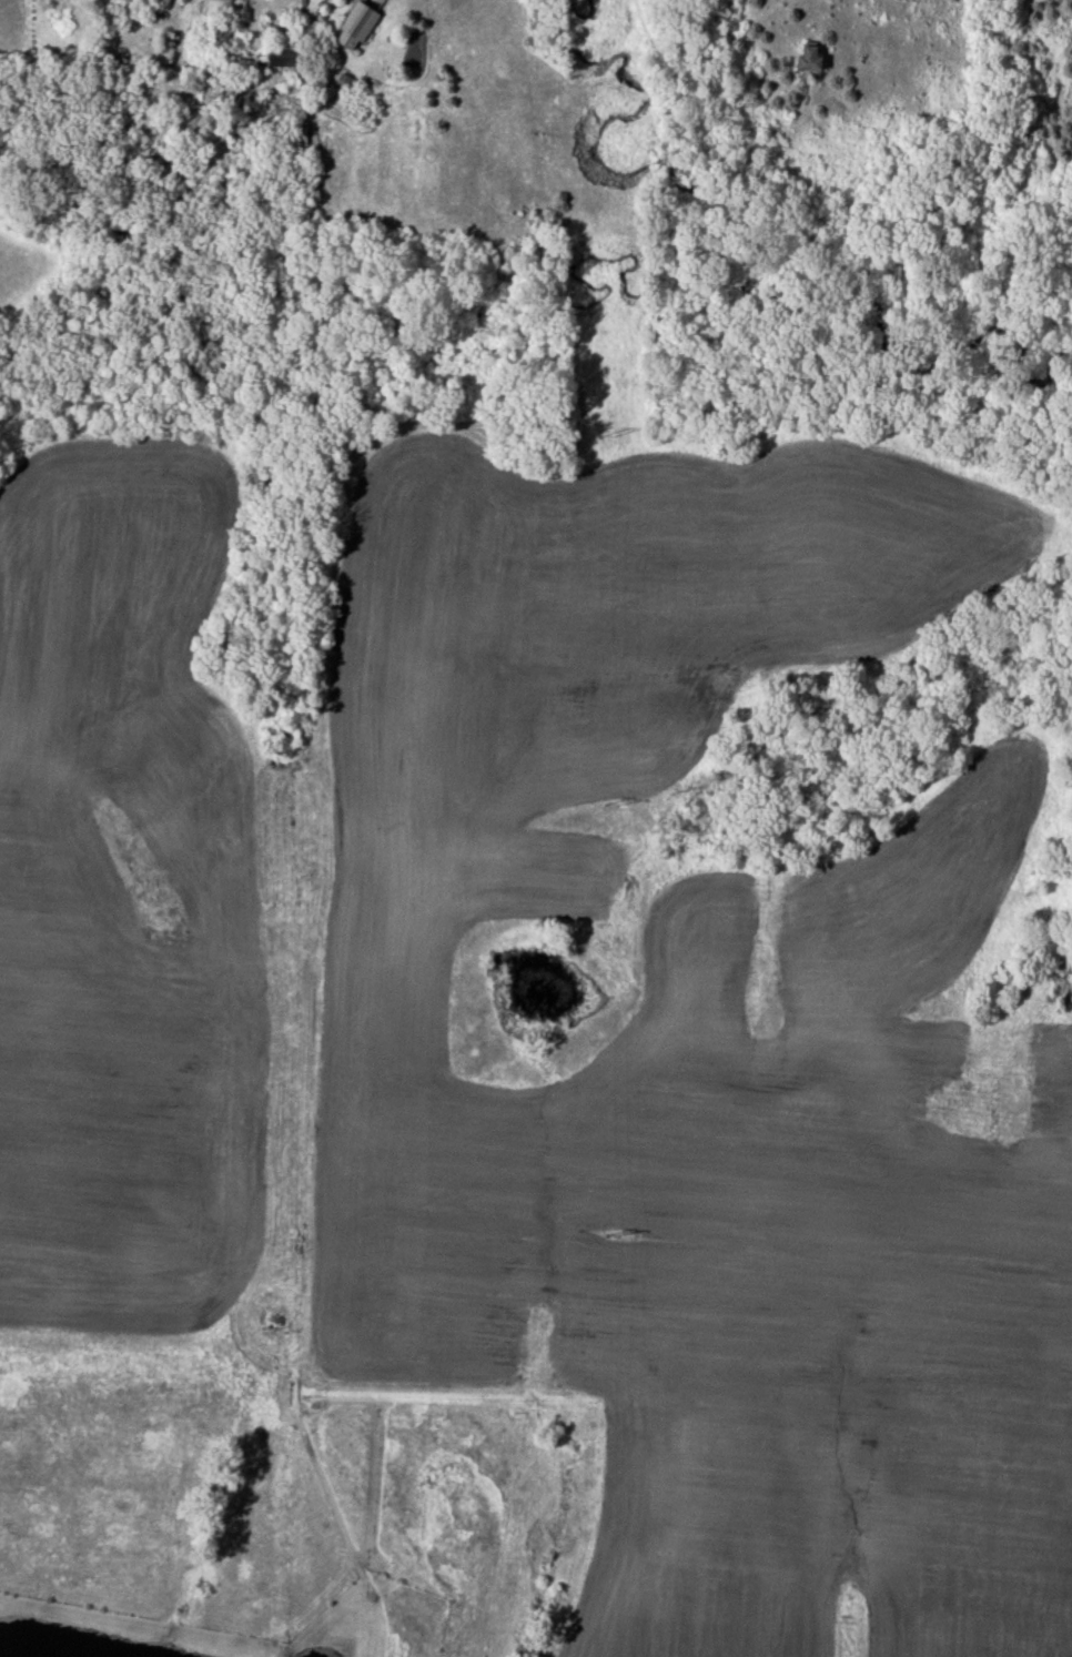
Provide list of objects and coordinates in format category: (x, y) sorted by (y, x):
road: (269, 0)
building: (358, 23)
building: (282, 59)
building: (808, 61)
power tower: (606, 435)
power tower: (608, 807)
power tower: (610, 1236)

